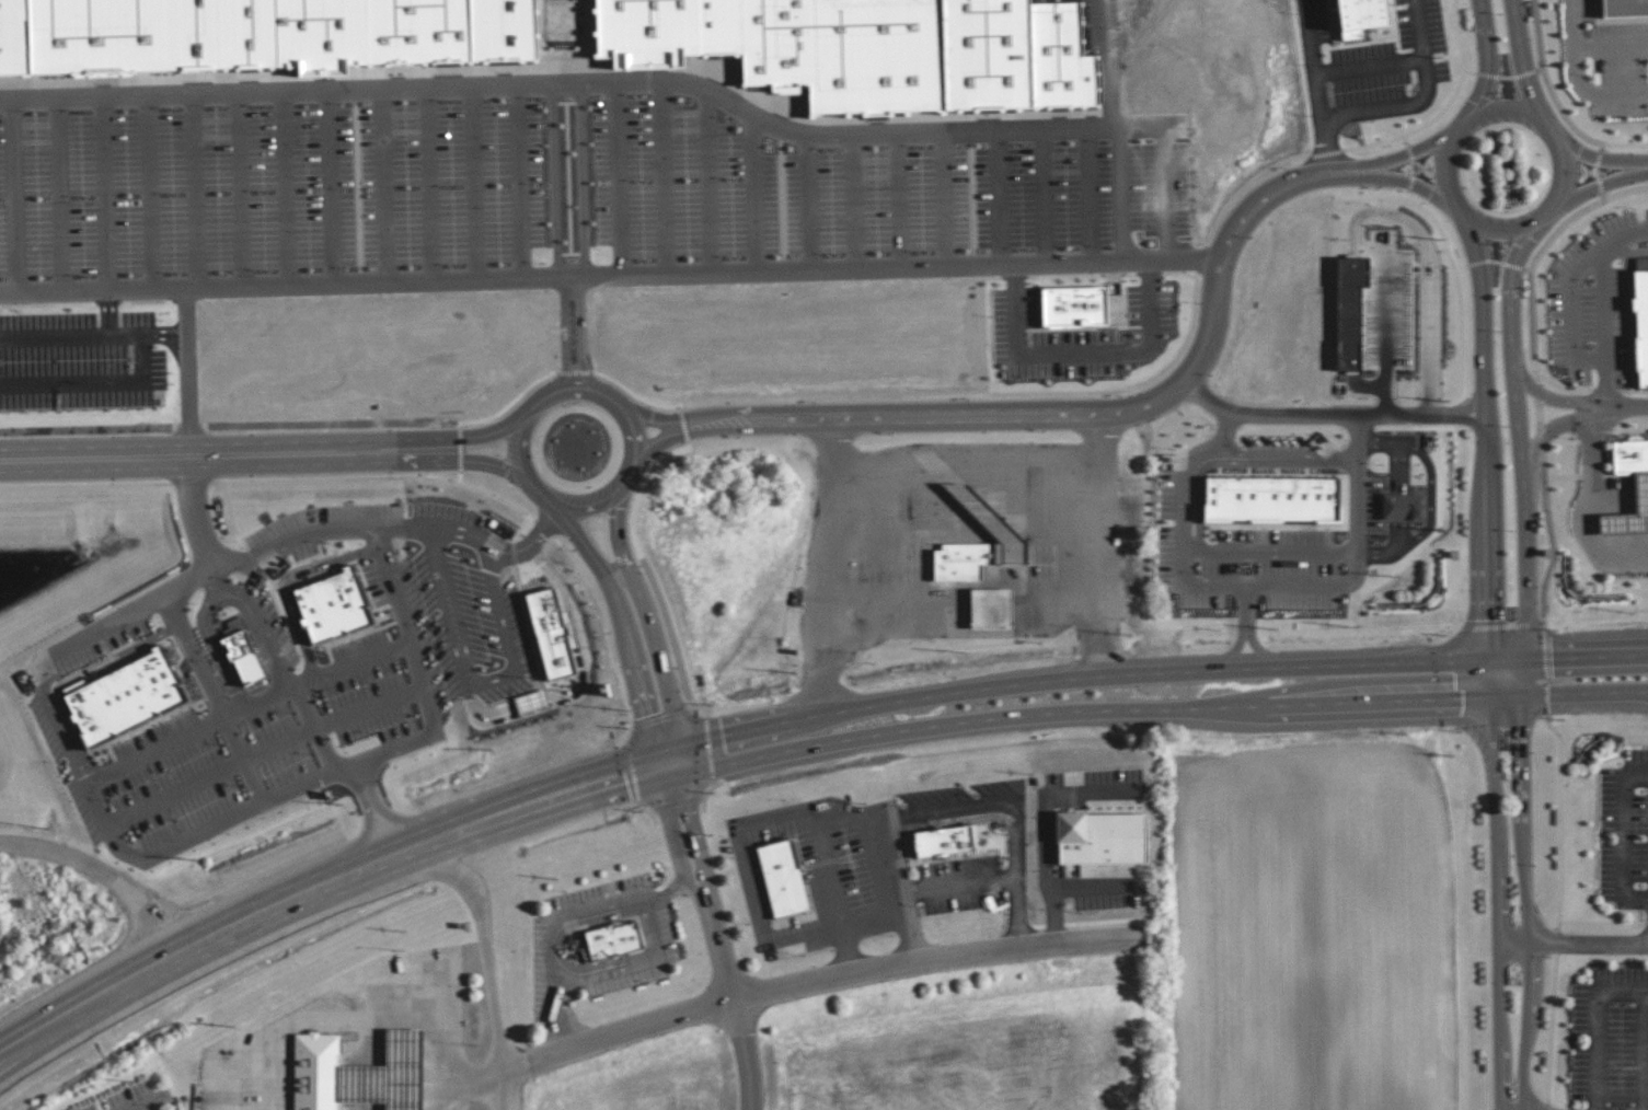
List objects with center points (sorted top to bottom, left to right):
building: (1624, 9)
building: (1363, 15)
building: (738, 26)
building: (522, 32)
building: (466, 33)
building: (417, 34)
building: (667, 34)
road: (1537, 34)
building: (246, 36)
building: (126, 38)
building: (344, 38)
building: (28, 41)
road: (1611, 45)
building: (793, 46)
building: (1010, 58)
building: (896, 60)
road: (1315, 61)
road: (1488, 61)
building: (1082, 63)
road: (1523, 67)
road: (1122, 68)
road: (1372, 69)
road: (1574, 78)
road: (546, 88)
road: (573, 89)
building: (1159, 96)
road: (1424, 101)
road: (1563, 114)
road: (1102, 137)
road: (1327, 147)
road: (1419, 150)
road: (1624, 151)
road: (1594, 157)
road: (1643, 167)
road: (1598, 172)
road: (1418, 184)
road: (1593, 189)
parking lot: (517, 212)
road: (1379, 217)
road: (1534, 221)
road: (1561, 228)
road: (612, 280)
road: (575, 281)
road: (192, 285)
road: (1603, 304)
road: (1574, 313)
road: (120, 316)
building: (1640, 325)
road: (79, 342)
road: (1085, 347)
road: (1533, 347)
road: (115, 388)
road: (1071, 392)
road: (1618, 408)
road: (1097, 411)
road: (1587, 413)
road: (1332, 416)
road: (652, 419)
road: (495, 439)
road: (1541, 439)
road: (521, 448)
road: (229, 451)
road: (1488, 452)
road: (1523, 453)
building: (1629, 456)
road: (963, 469)
road: (625, 479)
road: (1545, 481)
building: (1640, 492)
road: (1431, 494)
road: (543, 495)
building: (1271, 498)
building: (1403, 507)
road: (1583, 509)
road: (548, 512)
road: (196, 513)
road: (383, 523)
building: (1623, 523)
gas station: (1623, 523)
road: (569, 527)
road: (1087, 540)
road: (1184, 551)
road: (1357, 552)
road: (618, 558)
road: (834, 560)
road: (217, 583)
road: (223, 590)
road: (1543, 601)
building: (336, 608)
building: (991, 609)
road: (114, 622)
building: (571, 636)
road: (666, 655)
traffic signals: (1494, 658)
traffic signals: (1524, 658)
building: (243, 659)
road: (645, 662)
road: (1161, 670)
building: (164, 674)
parking lot: (296, 674)
road: (426, 675)
road: (323, 677)
road: (598, 686)
building: (142, 687)
road: (492, 689)
traffic signals: (1524, 695)
traffic signals: (1495, 696)
road: (220, 697)
building: (118, 699)
road: (1165, 705)
building: (91, 714)
road: (65, 738)
traffic signals: (688, 760)
road: (677, 762)
traffic signals: (666, 765)
road: (546, 799)
road: (982, 802)
road: (244, 812)
road: (1561, 817)
road: (702, 828)
road: (685, 833)
road: (1625, 836)
building: (1103, 837)
building: (943, 840)
road: (413, 846)
building: (843, 868)
road: (742, 869)
building: (783, 878)
road: (954, 881)
road: (896, 887)
road: (286, 899)
road: (1528, 902)
road: (1497, 903)
road: (1013, 907)
road: (600, 912)
road: (1603, 921)
road: (868, 925)
building: (613, 938)
road: (493, 943)
road: (1574, 945)
road: (634, 963)
road: (731, 964)
road: (826, 978)
road: (88, 999)
road: (338, 1011)
road: (562, 1018)
road: (1552, 1027)
road: (1600, 1030)
road: (1645, 1050)
road: (749, 1071)
building: (316, 1072)
building: (389, 1076)
road: (466, 1080)
road: (512, 1089)
road: (134, 1106)

